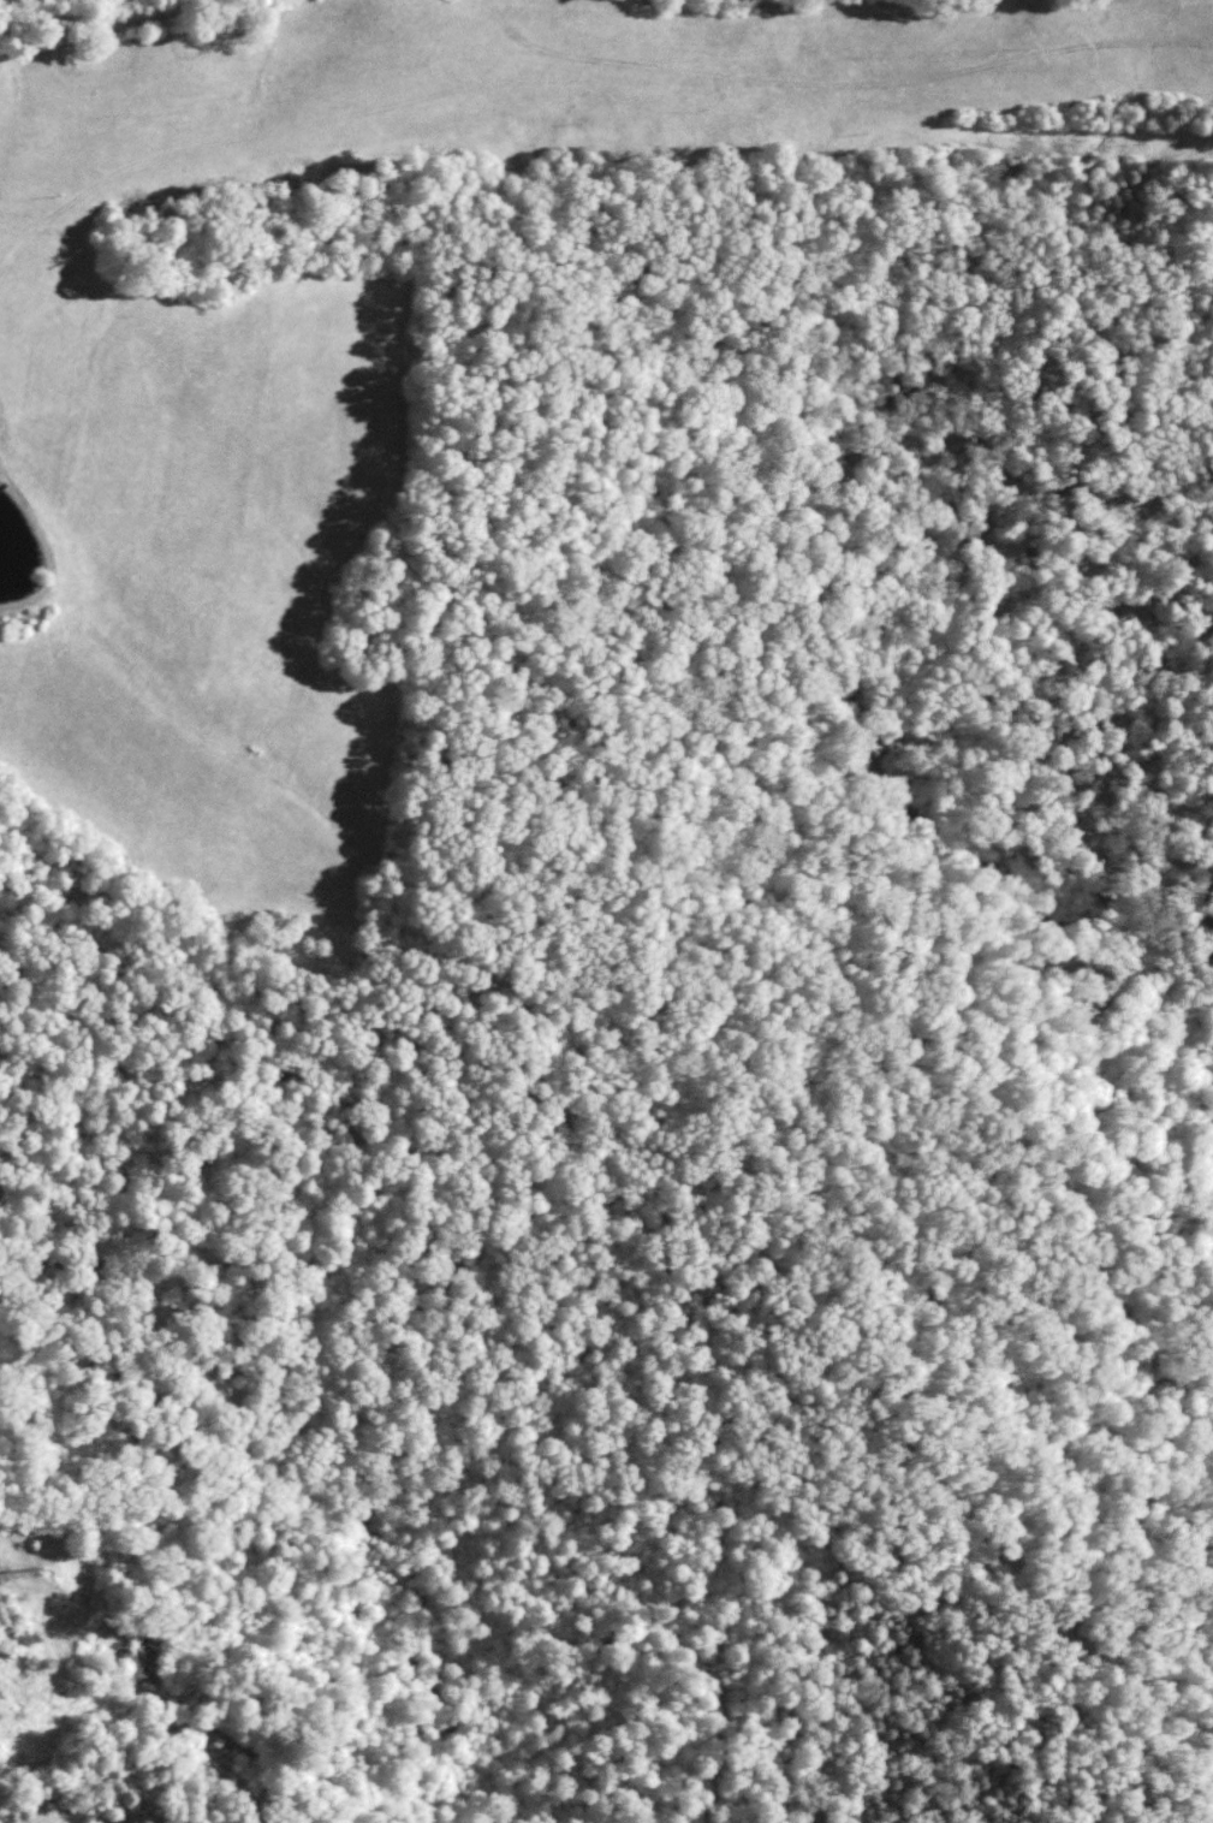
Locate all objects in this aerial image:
road: (106, 22)

